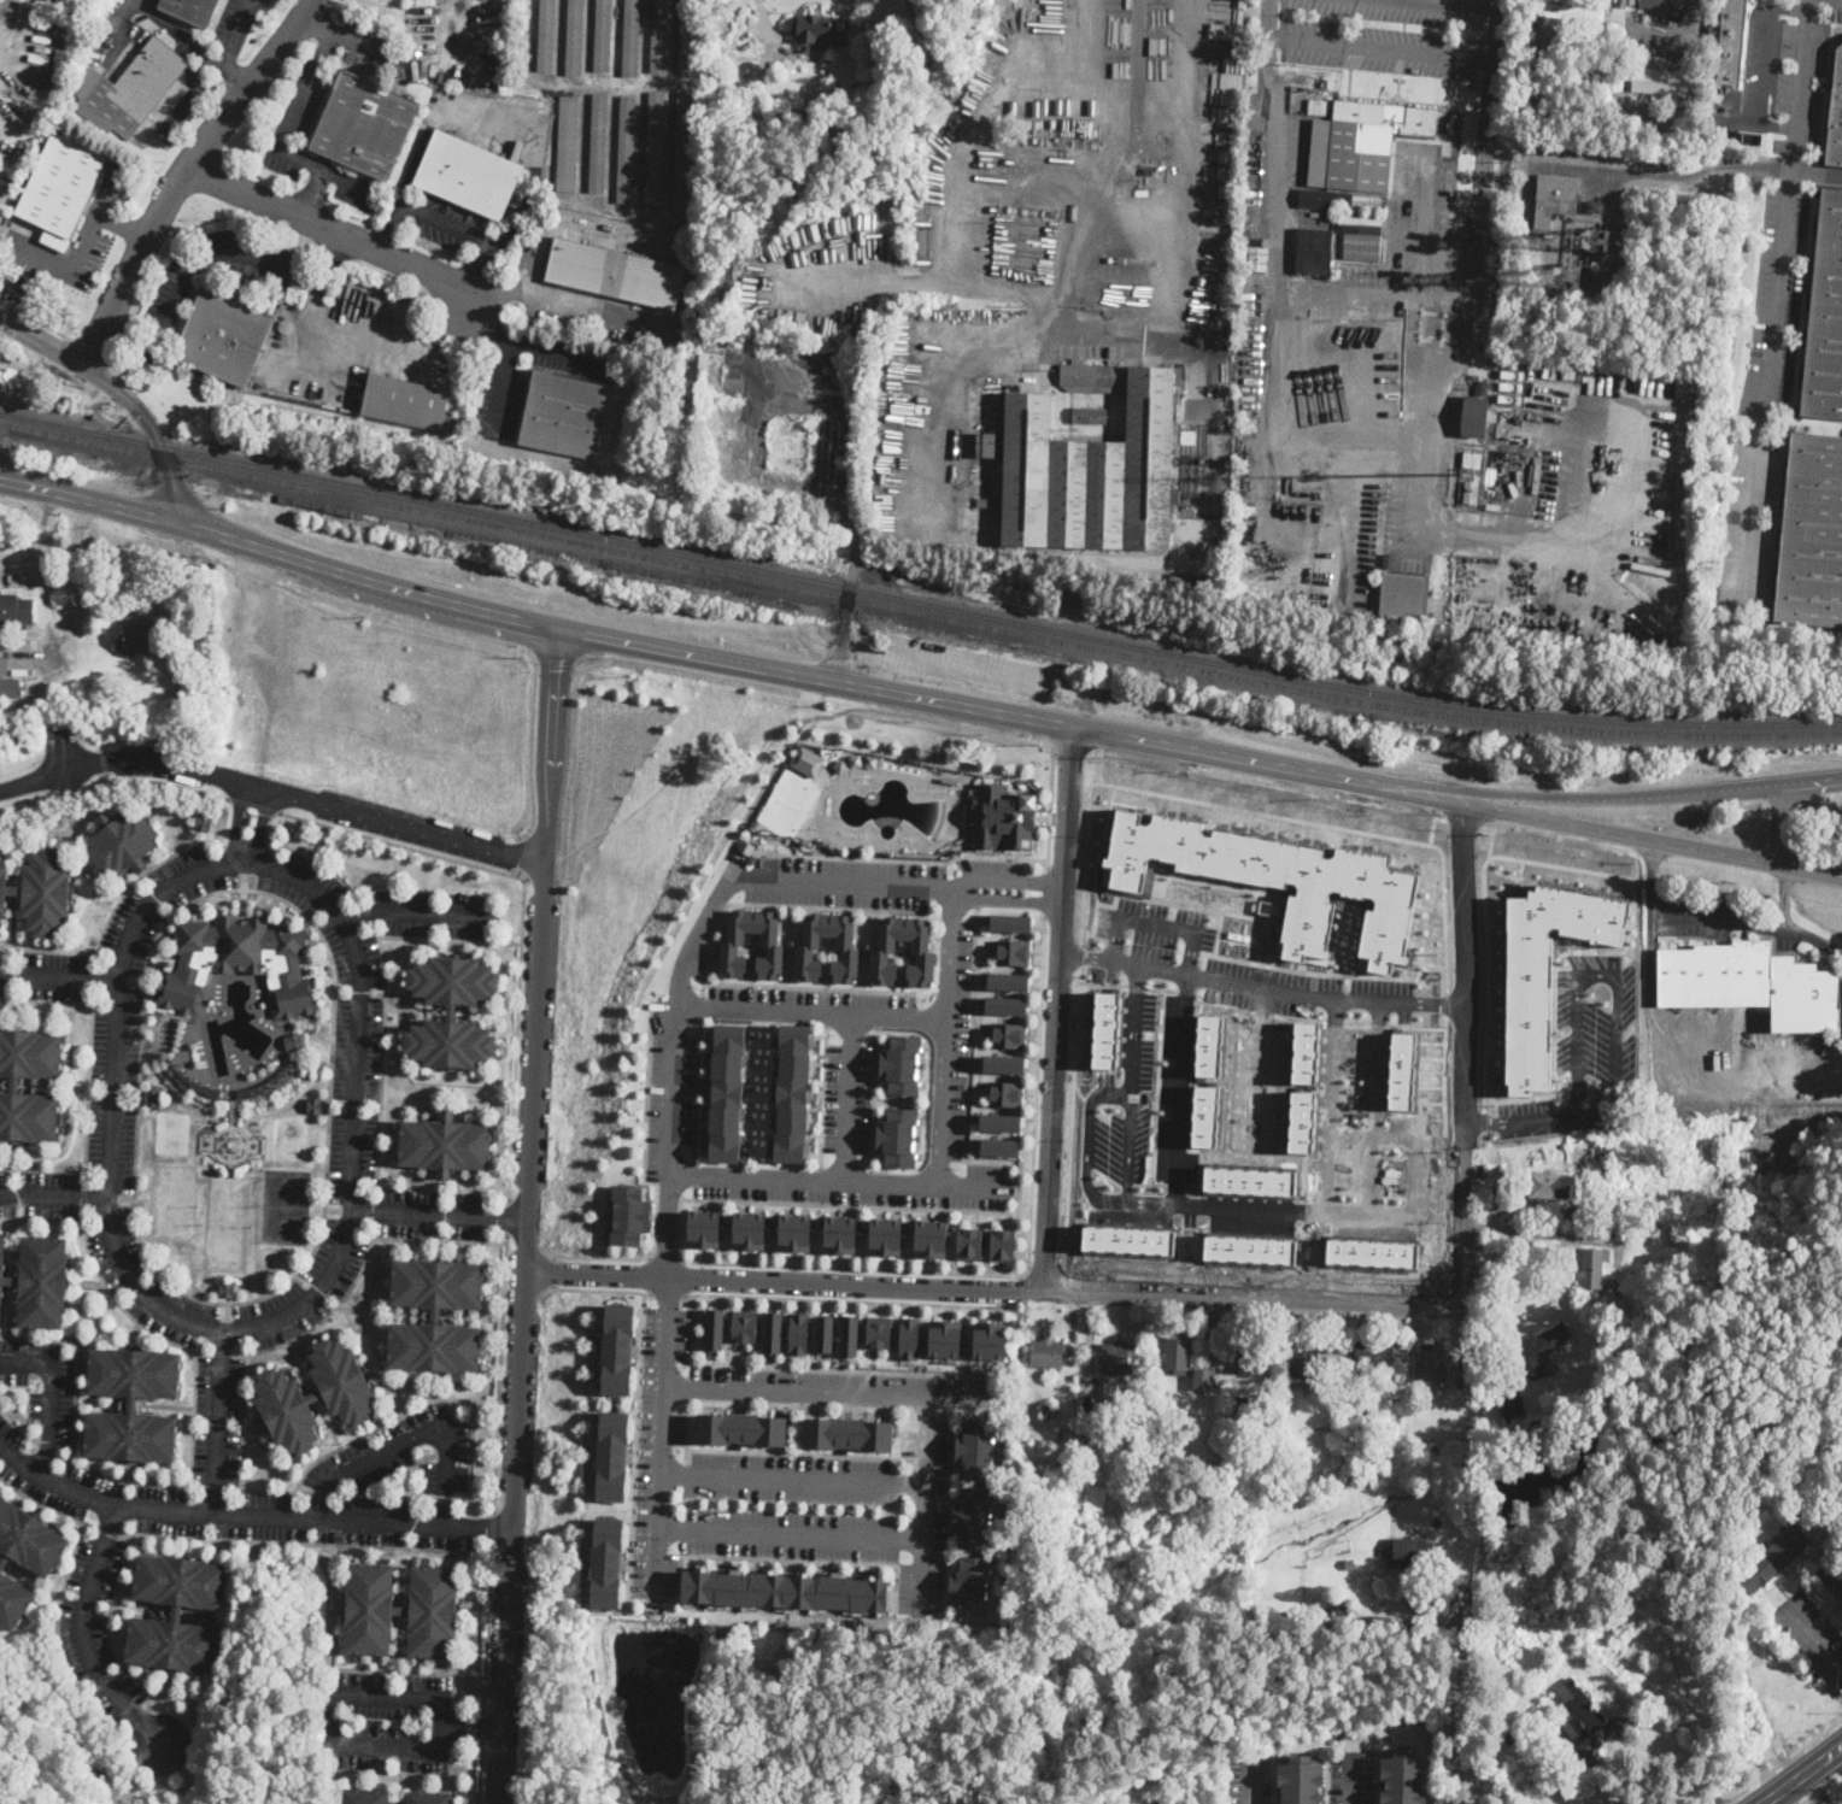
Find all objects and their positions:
road: (1473, 1)
building: (1670, 4)
building: (1574, 8)
building: (192, 10)
parking lot: (1838, 11)
road: (763, 16)
road: (1266, 16)
road: (452, 18)
road: (1532, 18)
parking lot: (239, 19)
road: (317, 19)
road: (1495, 27)
road: (1690, 28)
building: (820, 30)
building: (687, 34)
building: (603, 35)
parking lot: (1386, 35)
building: (546, 36)
building: (659, 36)
building: (574, 37)
building: (630, 37)
road: (190, 40)
road: (644, 40)
building: (1731, 42)
building: (741, 43)
road: (1379, 43)
road: (204, 60)
road: (1765, 66)
road: (1078, 75)
parking lot: (1802, 78)
road: (616, 80)
building: (1660, 82)
building: (134, 90)
building: (1530, 90)
road: (294, 101)
parking lot: (178, 105)
parking lot: (299, 106)
road: (1165, 106)
building: (1322, 112)
building: (1836, 117)
road: (494, 121)
building: (365, 125)
building: (1448, 130)
building: (1752, 137)
building: (1371, 141)
building: (599, 142)
building: (568, 143)
building: (626, 149)
building: (655, 149)
building: (682, 151)
road: (1817, 171)
building: (469, 175)
road: (1688, 175)
road: (184, 176)
road: (957, 183)
building: (61, 188)
road: (312, 192)
building: (1554, 198)
building: (1366, 202)
building: (1594, 207)
road: (629, 208)
road: (447, 223)
road: (392, 227)
road: (335, 229)
parking lot: (80, 235)
building: (1362, 236)
building: (1314, 249)
road: (216, 253)
building: (1257, 259)
road: (74, 260)
road: (470, 265)
building: (615, 274)
road: (892, 277)
road: (1181, 292)
road: (1776, 295)
road: (570, 301)
parking lot: (162, 310)
building: (1825, 317)
road: (1031, 327)
road: (486, 328)
building: (224, 336)
road: (516, 340)
building: (1091, 376)
building: (8, 380)
building: (1482, 388)
road: (125, 395)
parking lot: (1765, 399)
building: (410, 402)
parking lot: (495, 406)
building: (564, 415)
building: (1090, 416)
building: (1474, 417)
road: (1349, 434)
building: (989, 445)
building: (790, 446)
building: (1472, 460)
building: (1090, 474)
building: (1471, 493)
building: (984, 501)
building: (1812, 534)
road: (851, 580)
building: (1031, 593)
building: (1401, 597)
railway: (916, 599)
building: (16, 610)
railway: (916, 610)
road: (57, 625)
building: (139, 637)
road: (510, 645)
road: (706, 660)
road: (553, 662)
building: (4, 666)
building: (10, 687)
road: (61, 748)
road: (104, 759)
building: (808, 760)
building: (856, 760)
building: (872, 760)
building: (841, 766)
road: (1818, 781)
road: (165, 782)
road: (274, 791)
road: (1650, 794)
road: (1444, 797)
road: (1486, 797)
park: (790, 801)
road: (253, 804)
road: (1488, 806)
building: (1005, 818)
building: (203, 822)
road: (1776, 822)
road: (248, 823)
road: (288, 836)
building: (122, 841)
building: (806, 842)
road: (1676, 842)
road: (218, 844)
building: (746, 846)
road: (967, 856)
road: (521, 857)
road: (234, 860)
road: (244, 862)
road: (321, 863)
road: (259, 864)
building: (1278, 880)
road: (1046, 888)
building: (41, 889)
road: (242, 895)
road: (1783, 895)
road: (119, 898)
road: (773, 903)
road: (418, 910)
road: (1161, 912)
road: (522, 913)
road: (1713, 917)
building: (1013, 921)
building: (239, 942)
building: (734, 942)
building: (809, 947)
building: (884, 951)
building: (1013, 952)
road: (101, 958)
road: (117, 970)
building: (1545, 970)
road: (1261, 975)
road: (58, 976)
road: (1613, 976)
road: (136, 979)
building: (1008, 981)
building: (1750, 983)
road: (386, 986)
road: (809, 987)
building: (186, 989)
building: (292, 995)
building: (1005, 1005)
road: (703, 1006)
road: (1056, 1009)
building: (452, 1011)
road: (810, 1013)
road: (311, 1018)
road: (1136, 1024)
building: (1105, 1029)
building: (1011, 1034)
road: (945, 1036)
building: (294, 1040)
building: (1210, 1044)
building: (1307, 1051)
road: (968, 1054)
road: (674, 1060)
building: (903, 1064)
building: (1007, 1064)
building: (1402, 1068)
building: (14, 1083)
road: (87, 1083)
road: (1466, 1086)
road: (697, 1089)
building: (727, 1092)
building: (1005, 1093)
road: (822, 1095)
building: (152, 1097)
building: (796, 1097)
road: (874, 1098)
road: (849, 1099)
road: (1375, 1101)
building: (315, 1104)
building: (1084, 1111)
building: (1204, 1116)
building: (1302, 1121)
building: (1001, 1122)
road: (1519, 1123)
park: (171, 1132)
building: (897, 1136)
park: (289, 1138)
building: (446, 1144)
road: (1090, 1144)
building: (999, 1146)
road: (1128, 1146)
road: (1416, 1153)
building: (1605, 1158)
building: (1666, 1173)
road: (88, 1176)
road: (837, 1181)
road: (651, 1182)
building: (1250, 1182)
building: (1551, 1186)
road: (434, 1187)
road: (105, 1189)
road: (51, 1195)
road: (131, 1198)
road: (1148, 1201)
road: (105, 1204)
park: (284, 1205)
road: (1240, 1205)
building: (1524, 1210)
road: (1368, 1211)
building: (1574, 1212)
road: (436, 1214)
building: (630, 1215)
road: (524, 1216)
road: (506, 1217)
road: (48, 1221)
building: (1652, 1226)
building: (704, 1228)
building: (1121, 1229)
building: (750, 1230)
building: (794, 1232)
building: (840, 1233)
building: (1679, 1234)
building: (885, 1236)
road: (432, 1239)
building: (932, 1239)
building: (1243, 1239)
building: (969, 1242)
building: (1366, 1244)
building: (1002, 1245)
road: (664, 1256)
road: (835, 1265)
building: (1591, 1269)
road: (553, 1271)
road: (650, 1273)
road: (682, 1276)
building: (40, 1280)
building: (227, 1288)
road: (995, 1288)
road: (1010, 1289)
road: (667, 1294)
road: (688, 1294)
road: (522, 1295)
road: (806, 1298)
road: (223, 1303)
road: (118, 1304)
building: (1624, 1305)
road: (225, 1311)
building: (436, 1314)
road: (322, 1318)
building: (744, 1326)
building: (715, 1328)
road: (216, 1329)
road: (231, 1329)
building: (773, 1332)
building: (826, 1332)
building: (879, 1332)
building: (798, 1333)
building: (850, 1335)
building: (905, 1338)
building: (941, 1338)
road: (1087, 1339)
building: (984, 1341)
building: (618, 1348)
building: (1536, 1352)
road: (222, 1353)
building: (1049, 1353)
building: (1178, 1353)
building: (1250, 1353)
building: (1365, 1357)
building: (1116, 1358)
building: (1304, 1358)
building: (1397, 1359)
road: (76, 1361)
building: (1433, 1365)
road: (841, 1369)
road: (499, 1371)
building: (1203, 1380)
road: (690, 1388)
road: (638, 1392)
road: (828, 1392)
road: (52, 1393)
building: (315, 1395)
building: (133, 1404)
building: (1512, 1406)
building: (1050, 1410)
building: (1240, 1410)
road: (192, 1411)
road: (218, 1421)
road: (385, 1422)
building: (1133, 1424)
road: (18, 1427)
building: (1091, 1427)
building: (741, 1428)
road: (688, 1430)
building: (847, 1432)
building: (1061, 1433)
road: (415, 1436)
building: (976, 1447)
road: (47, 1449)
road: (471, 1450)
road: (241, 1451)
road: (808, 1453)
building: (614, 1455)
road: (791, 1477)
road: (121, 1479)
road: (322, 1493)
road: (383, 1496)
road: (444, 1498)
road: (474, 1500)
road: (923, 1502)
road: (47, 1505)
road: (247, 1514)
building: (972, 1516)
road: (493, 1527)
road: (108, 1528)
road: (790, 1532)
road: (305, 1542)
building: (1413, 1549)
building: (24, 1556)
road: (791, 1558)
building: (1772, 1558)
building: (609, 1562)
building: (1349, 1564)
building: (1832, 1575)
building: (968, 1585)
building: (786, 1588)
road: (59, 1603)
building: (401, 1609)
building: (178, 1612)
building: (1331, 1618)
building: (1284, 1620)
road: (107, 1622)
road: (487, 1627)
building: (1431, 1633)
road: (86, 1635)
parking lot: (1812, 1638)
road: (1814, 1638)
road: (1026, 1640)
road: (342, 1668)
road: (341, 1690)
road: (1454, 1714)
building: (1618, 1723)
building: (1633, 1723)
building: (1580, 1724)
road: (483, 1726)
building: (1485, 1732)
building: (1508, 1738)
road: (1781, 1761)
road: (386, 1771)
road: (481, 1771)
parking lot: (1353, 1773)
road: (1801, 1774)
road: (1325, 1776)
building: (1401, 1777)
parking lot: (1246, 1779)
road: (1272, 1779)
building: (1297, 1781)
road: (1246, 1782)
road: (1350, 1782)
road: (1819, 1787)
building: (365, 1794)
building: (429, 1797)

